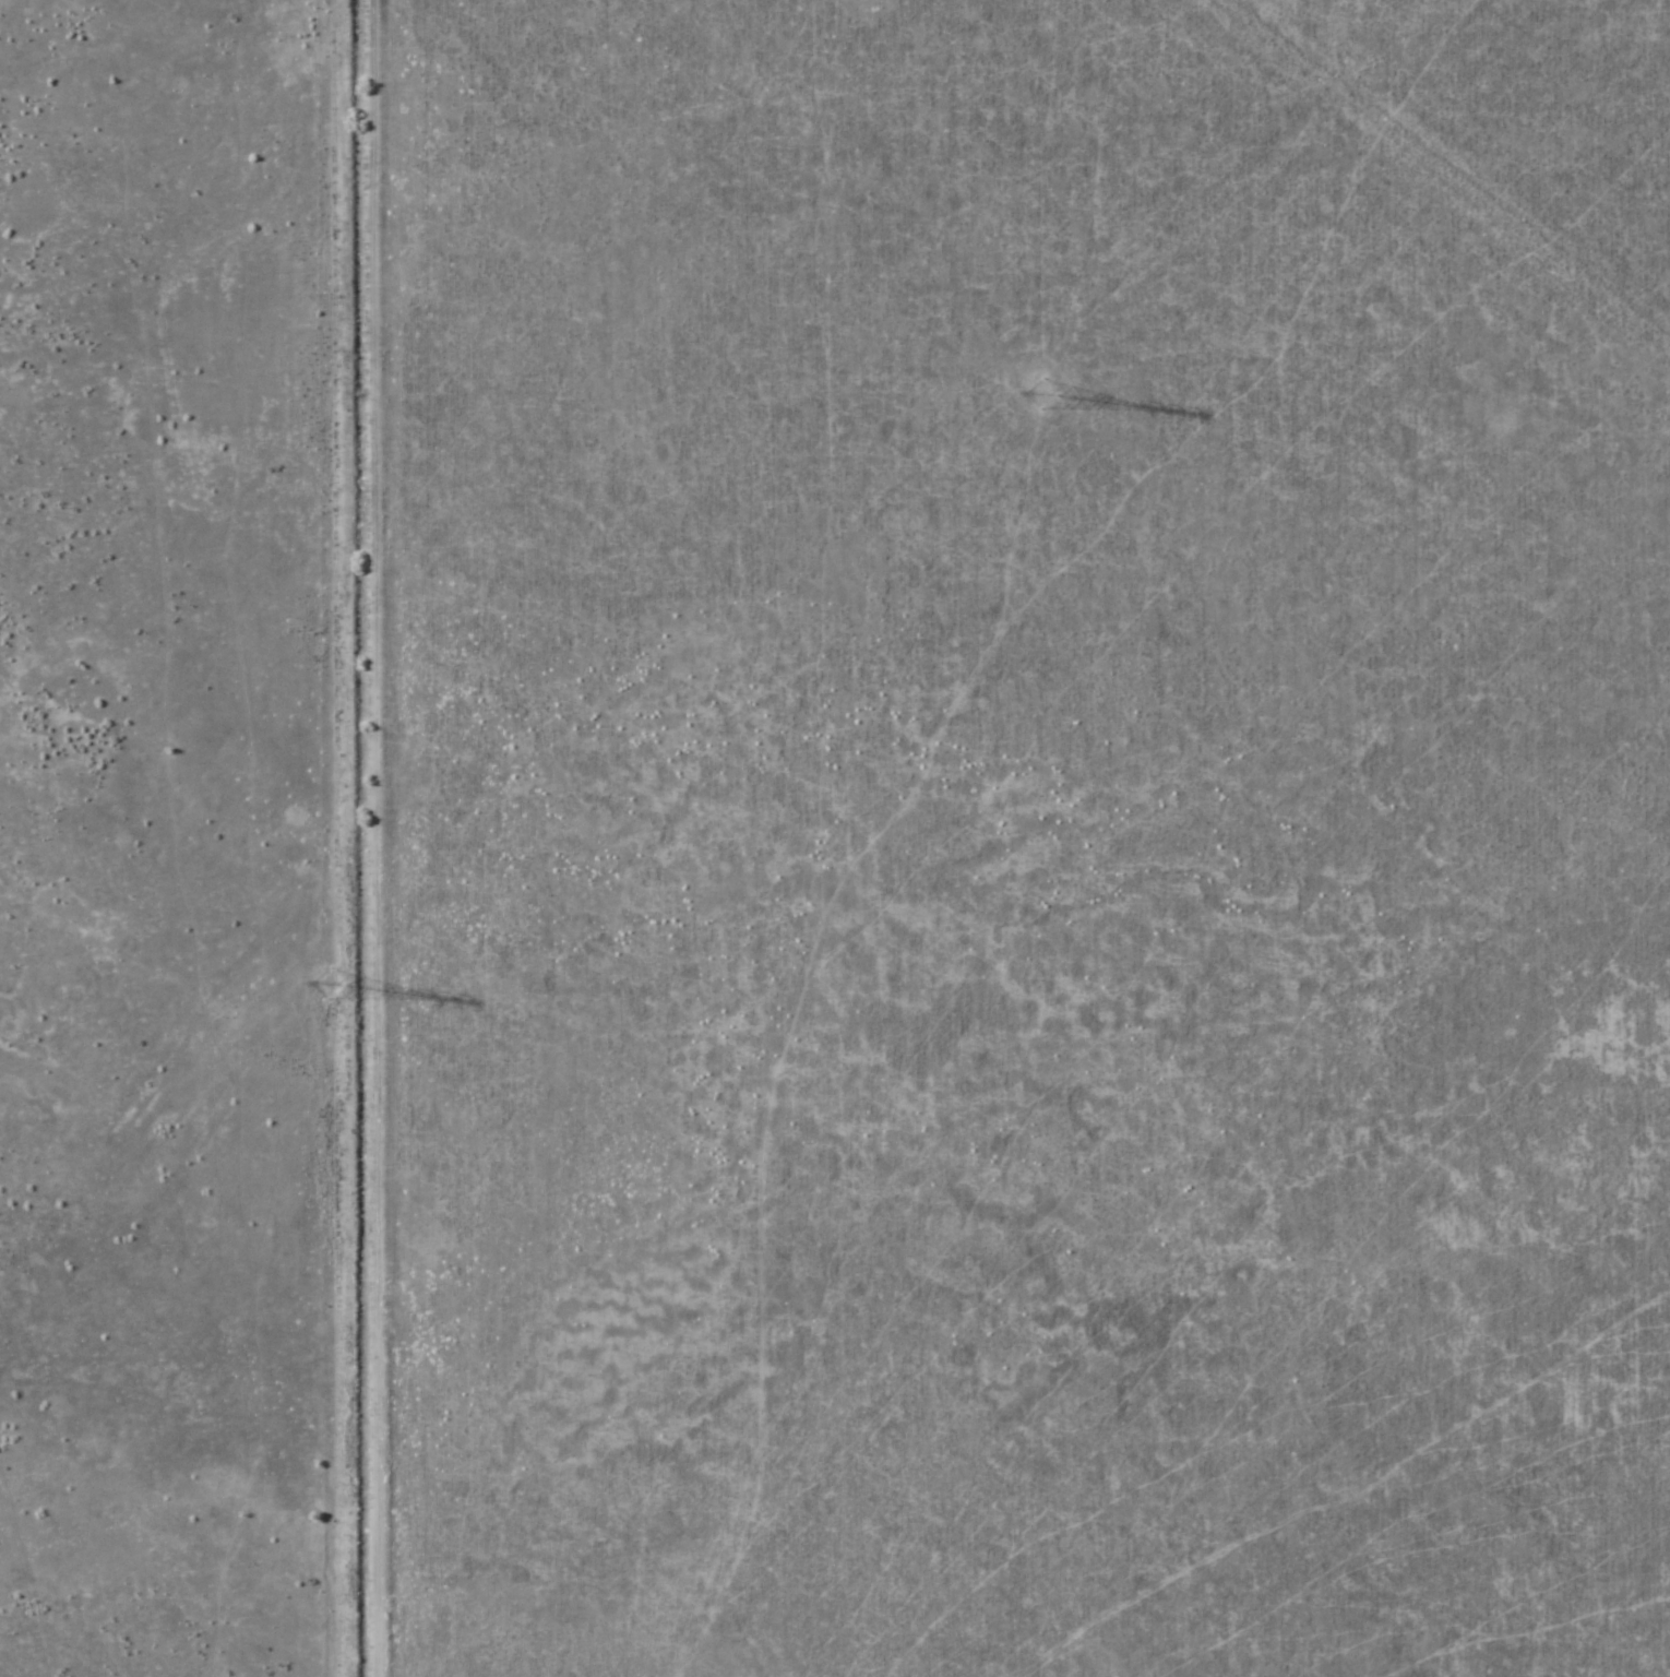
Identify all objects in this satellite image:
power tower: (1033, 384)
road: (349, 837)
power tower: (333, 996)

